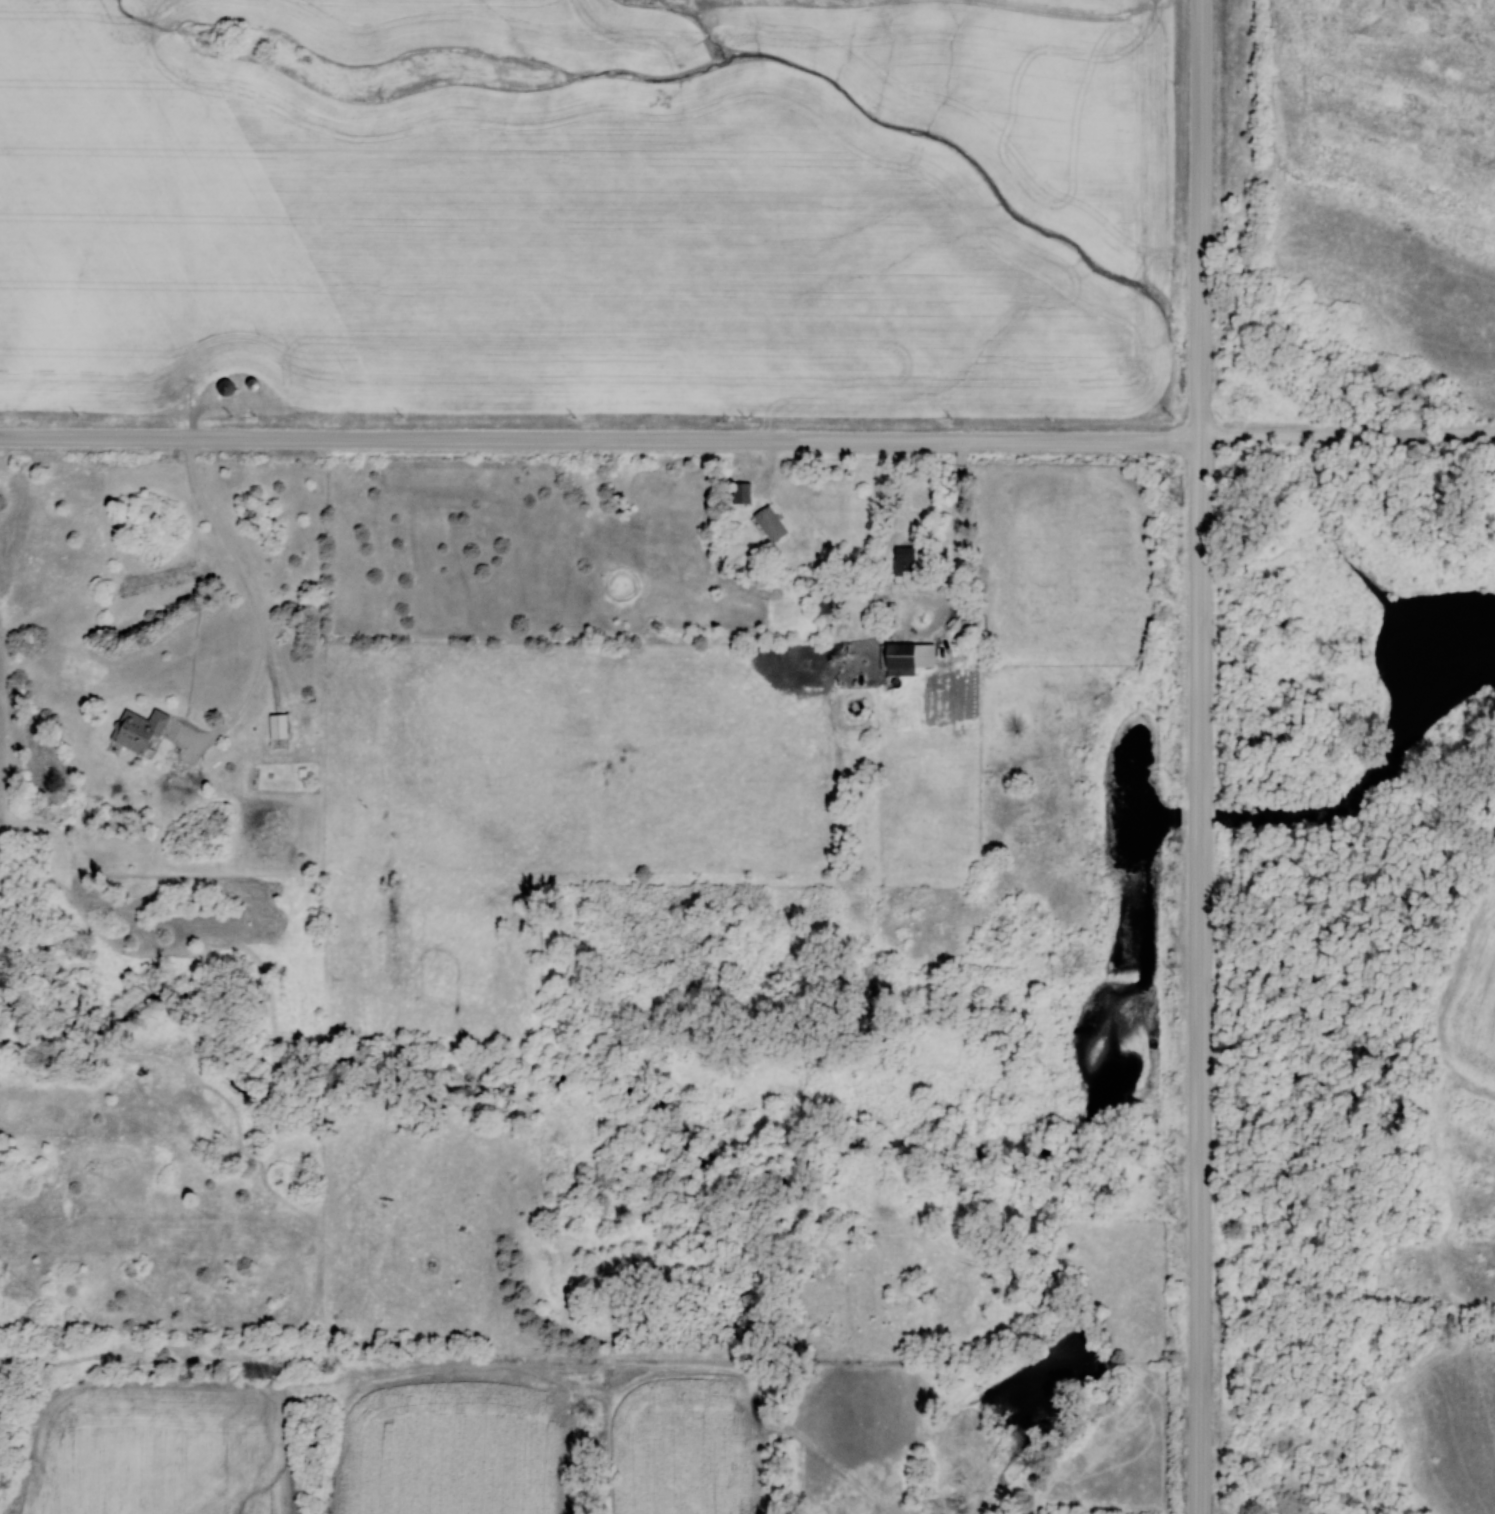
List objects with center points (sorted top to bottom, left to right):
building: (221, 387)
road: (1346, 437)
road: (599, 440)
building: (739, 492)
road: (959, 505)
building: (767, 522)
building: (901, 560)
road: (260, 612)
building: (895, 654)
building: (274, 726)
building: (136, 730)
road: (1199, 756)

